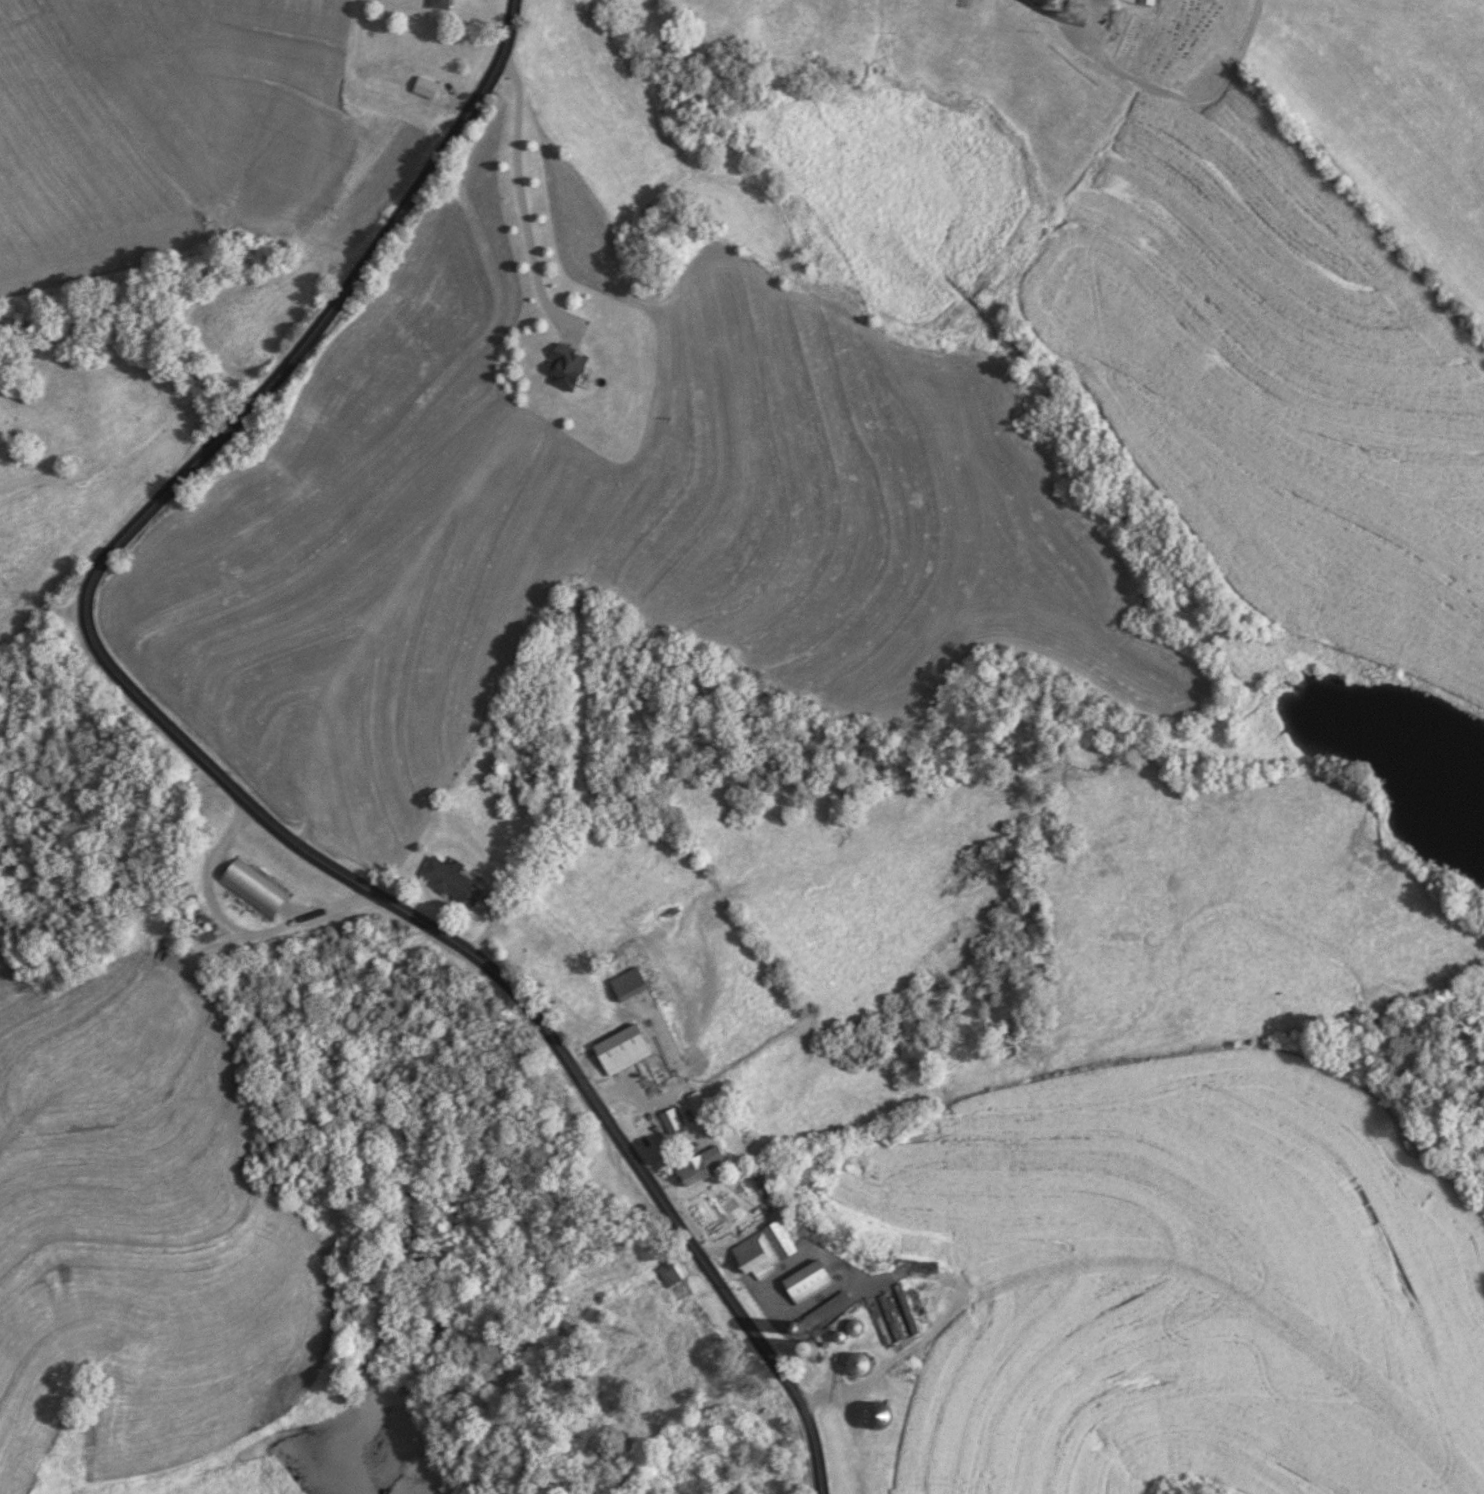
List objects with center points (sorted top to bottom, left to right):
building: (1148, 2)
building: (445, 5)
road: (1046, 11)
park: (1180, 39)
building: (427, 88)
road: (520, 198)
building: (570, 369)
road: (209, 771)
building: (453, 882)
building: (254, 889)
road: (229, 928)
building: (631, 984)
building: (624, 1049)
building: (697, 1102)
building: (671, 1120)
building: (698, 1166)
building: (766, 1249)
building: (674, 1271)
building: (811, 1281)
building: (856, 1326)
building: (816, 1348)
road: (887, 1350)
building: (862, 1365)

